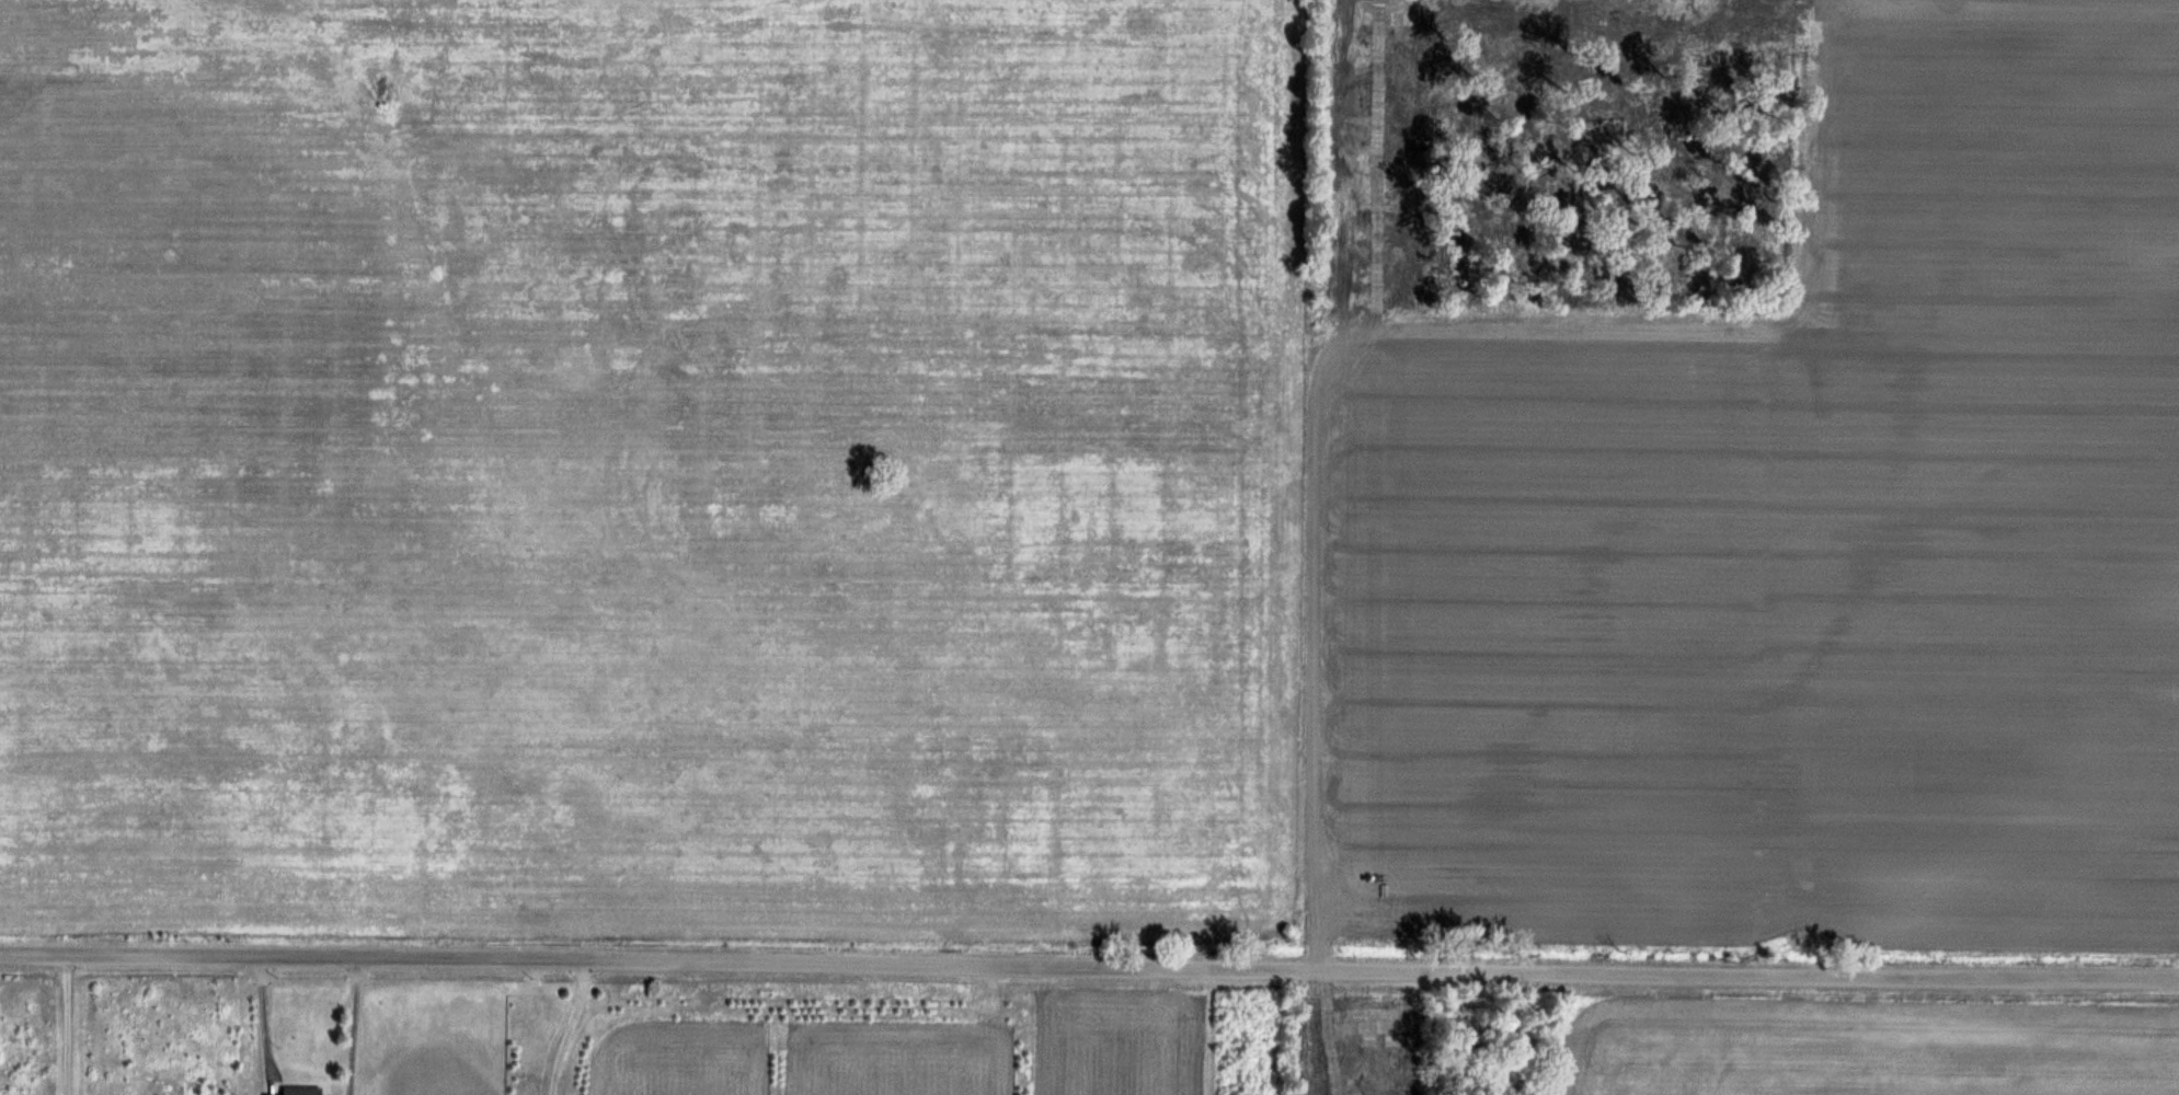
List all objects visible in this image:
road: (1089, 969)
road: (64, 1026)
road: (565, 1029)
building: (297, 1090)

